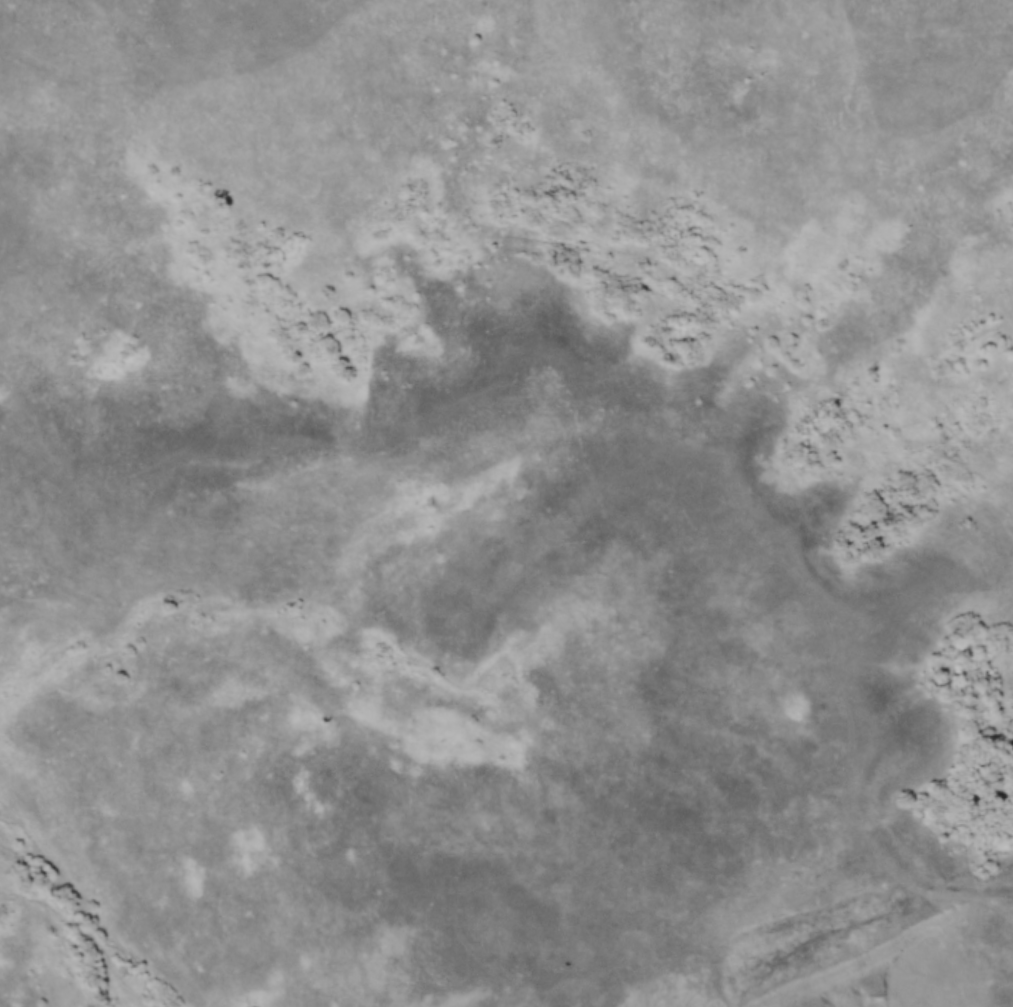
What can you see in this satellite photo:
quarry: (845, 953)

